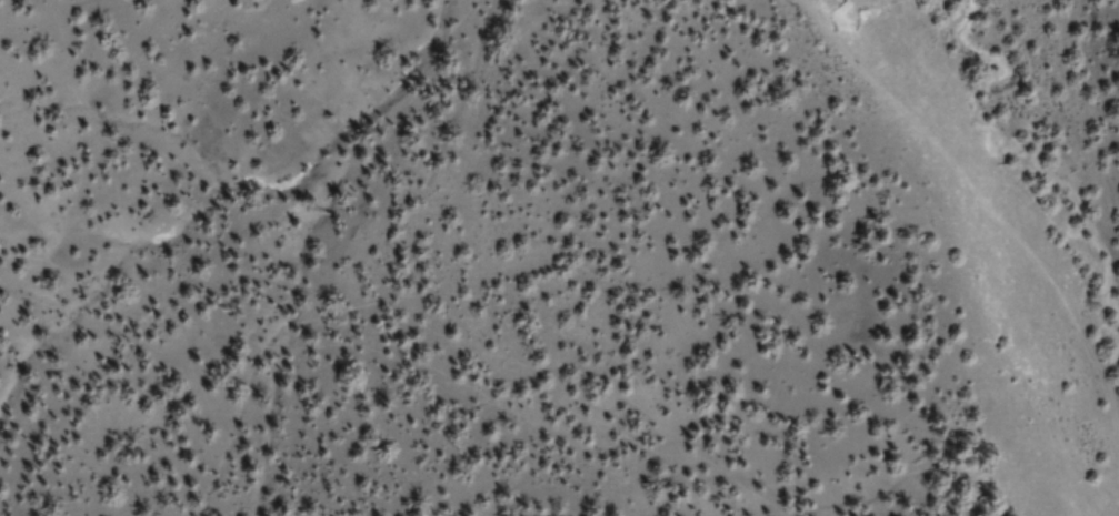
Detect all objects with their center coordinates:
road: (927, 249)
road: (1020, 451)

